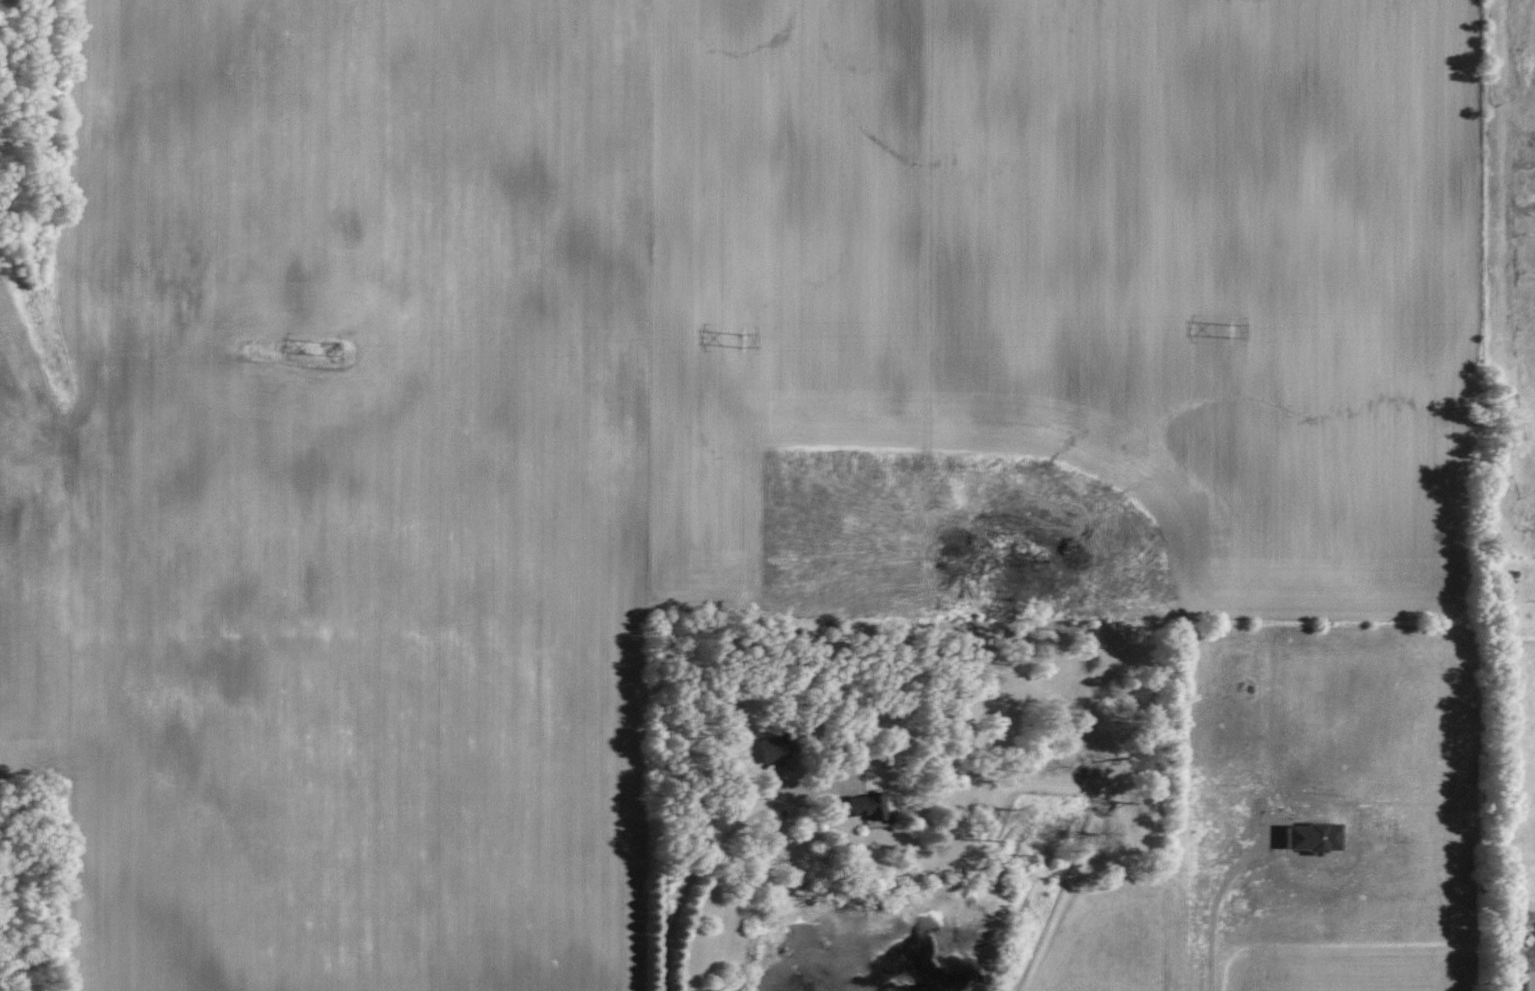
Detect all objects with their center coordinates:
power tower: (1230, 329)
power tower: (741, 339)
power tower: (327, 346)
building: (770, 749)
building: (860, 807)
building: (1310, 837)
road: (701, 863)
road: (1212, 905)
building: (1528, 980)

